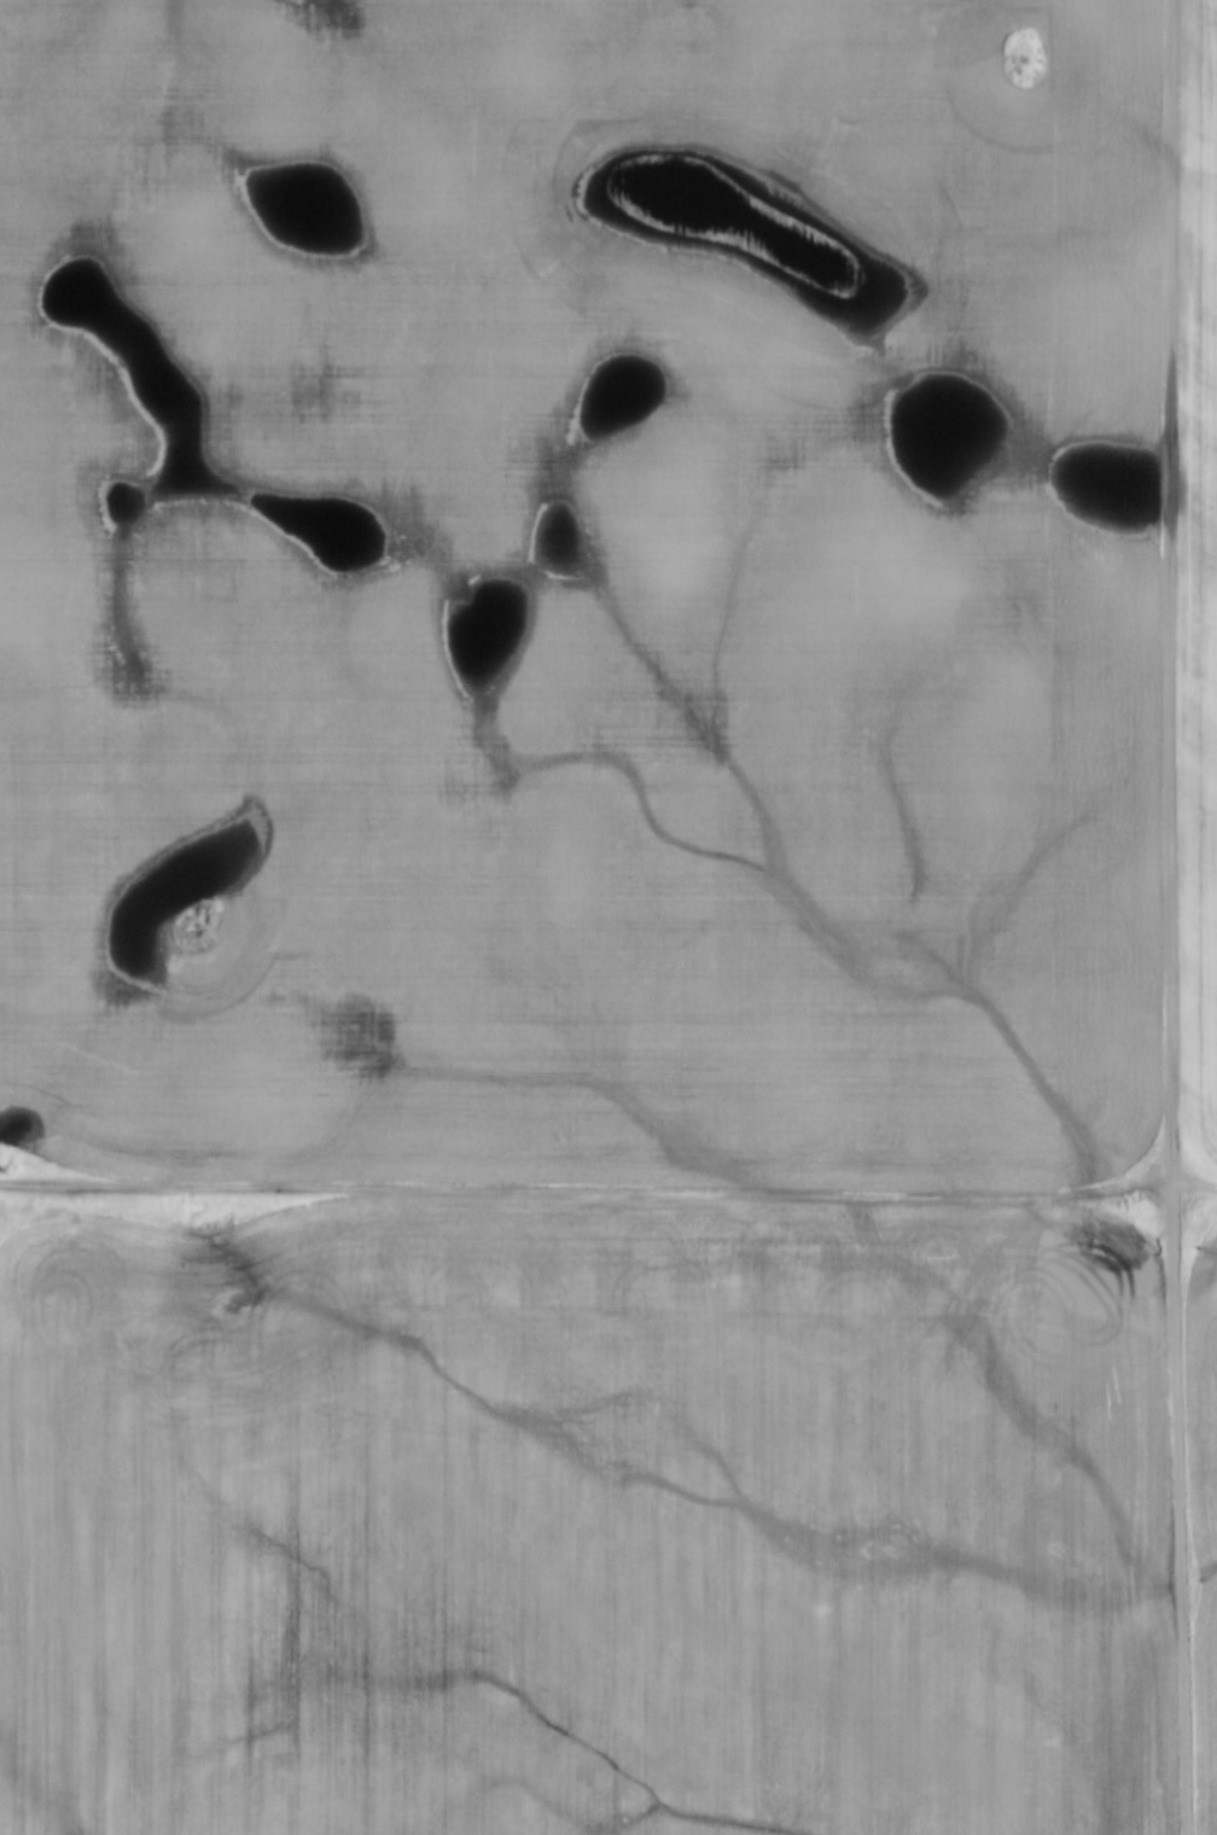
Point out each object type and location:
road: (1169, 917)
road: (1193, 1173)
road: (587, 1189)

